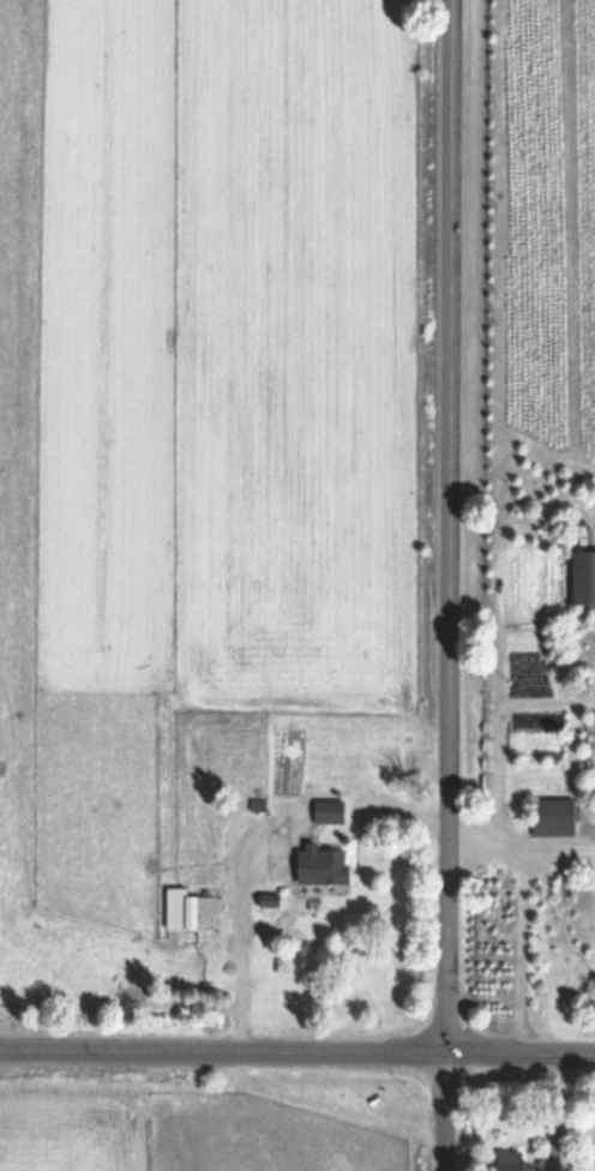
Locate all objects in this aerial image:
road: (446, 527)
building: (583, 578)
building: (329, 812)
building: (553, 817)
building: (330, 867)
building: (269, 902)
building: (188, 911)
building: (537, 1010)
road: (296, 1051)
road: (444, 1112)
building: (510, 1160)

